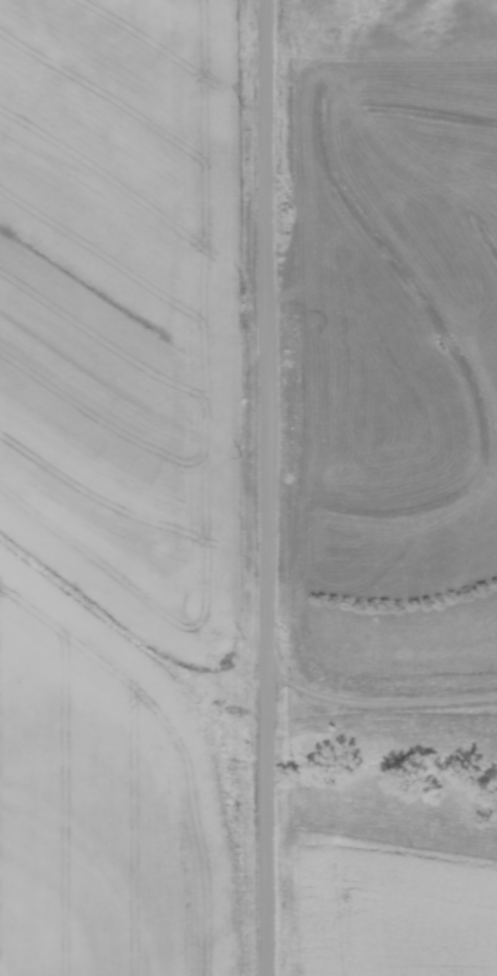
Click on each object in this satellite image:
road: (264, 488)
road: (375, 704)

